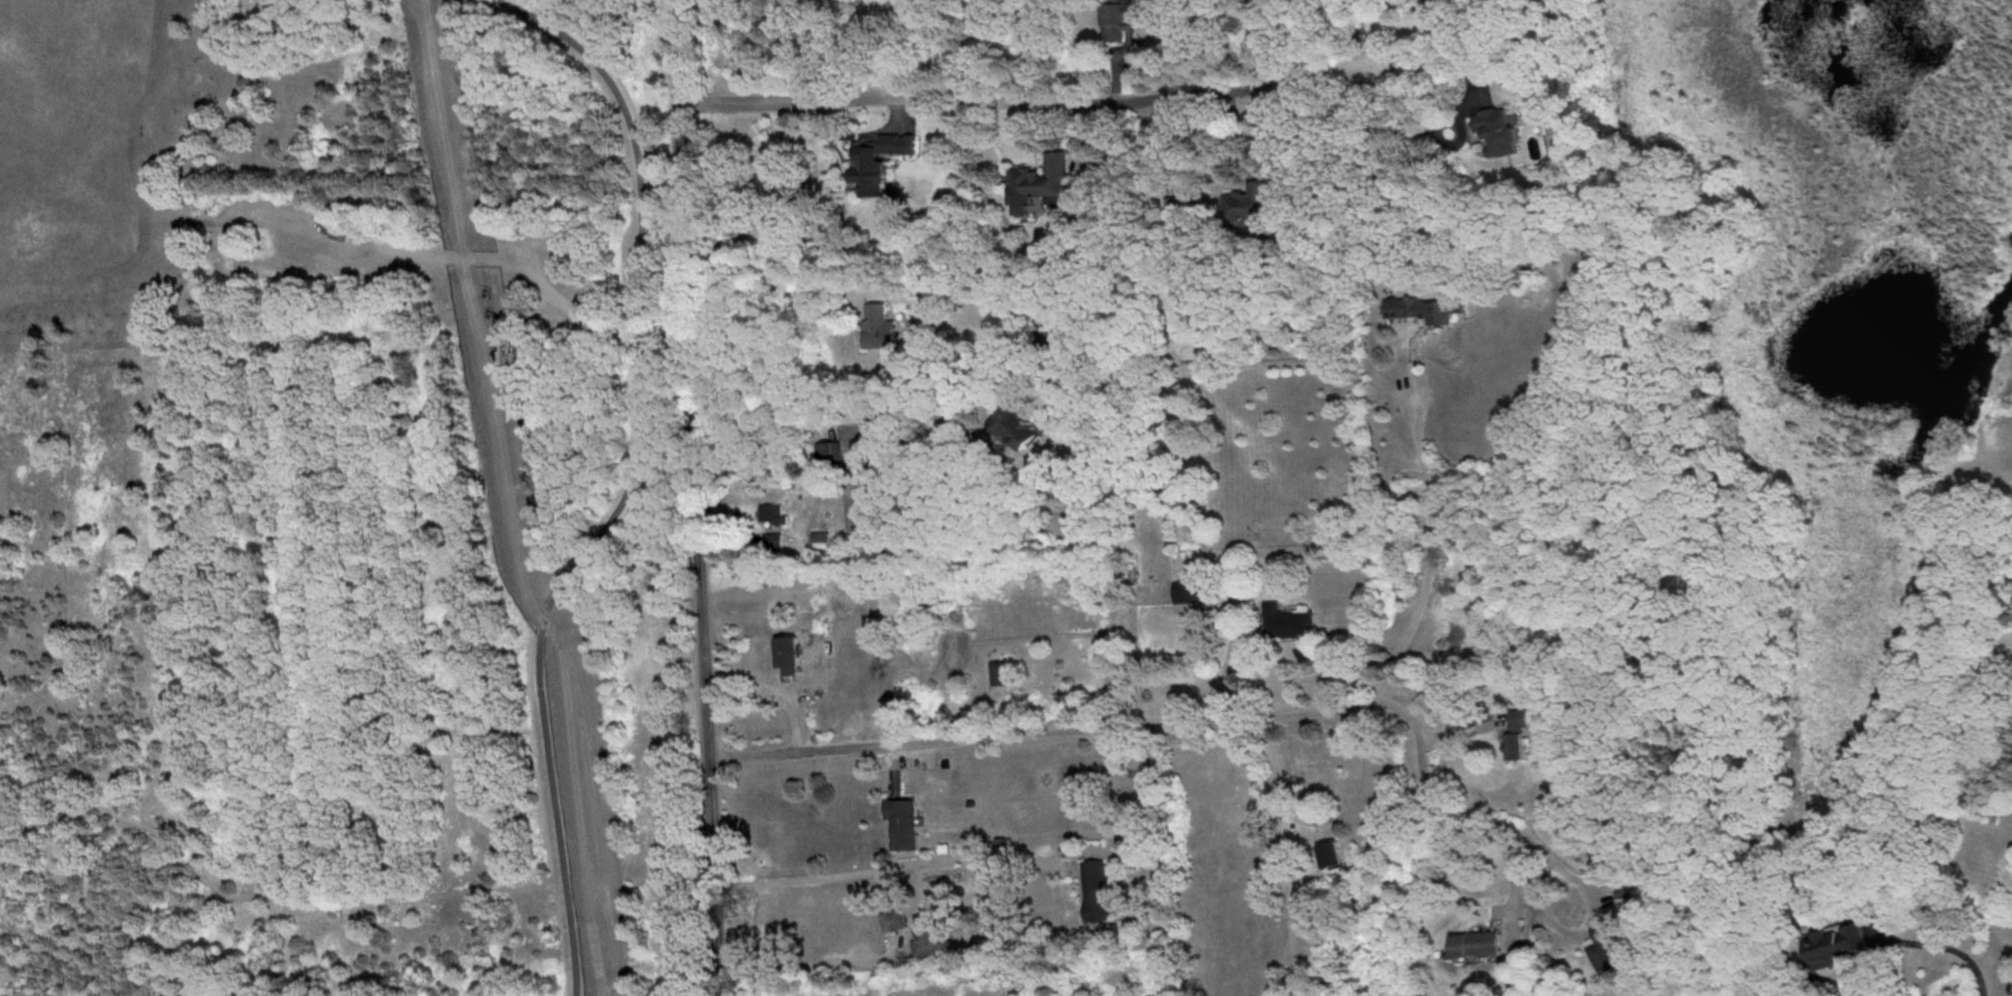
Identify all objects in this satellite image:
building: (1119, 27)
road: (1379, 33)
road: (1024, 102)
road: (1387, 125)
building: (1497, 129)
building: (877, 158)
building: (1038, 182)
building: (1247, 202)
parking lot: (501, 267)
road: (781, 289)
building: (1417, 308)
road: (571, 310)
building: (879, 325)
road: (834, 419)
building: (1015, 426)
road: (630, 479)
road: (694, 498)
park: (348, 503)
building: (772, 512)
building: (820, 537)
building: (774, 539)
road: (1429, 553)
building: (1189, 590)
building: (1289, 621)
building: (789, 653)
road: (1228, 660)
building: (999, 671)
road: (1146, 724)
building: (1517, 733)
road: (1328, 817)
building: (903, 820)
building: (1330, 853)
road: (883, 865)
road: (1509, 886)
building: (1095, 888)
road: (1593, 899)
building: (893, 917)
building: (926, 935)
building: (1474, 942)
building: (1835, 944)
building: (1605, 949)
road: (805, 968)

